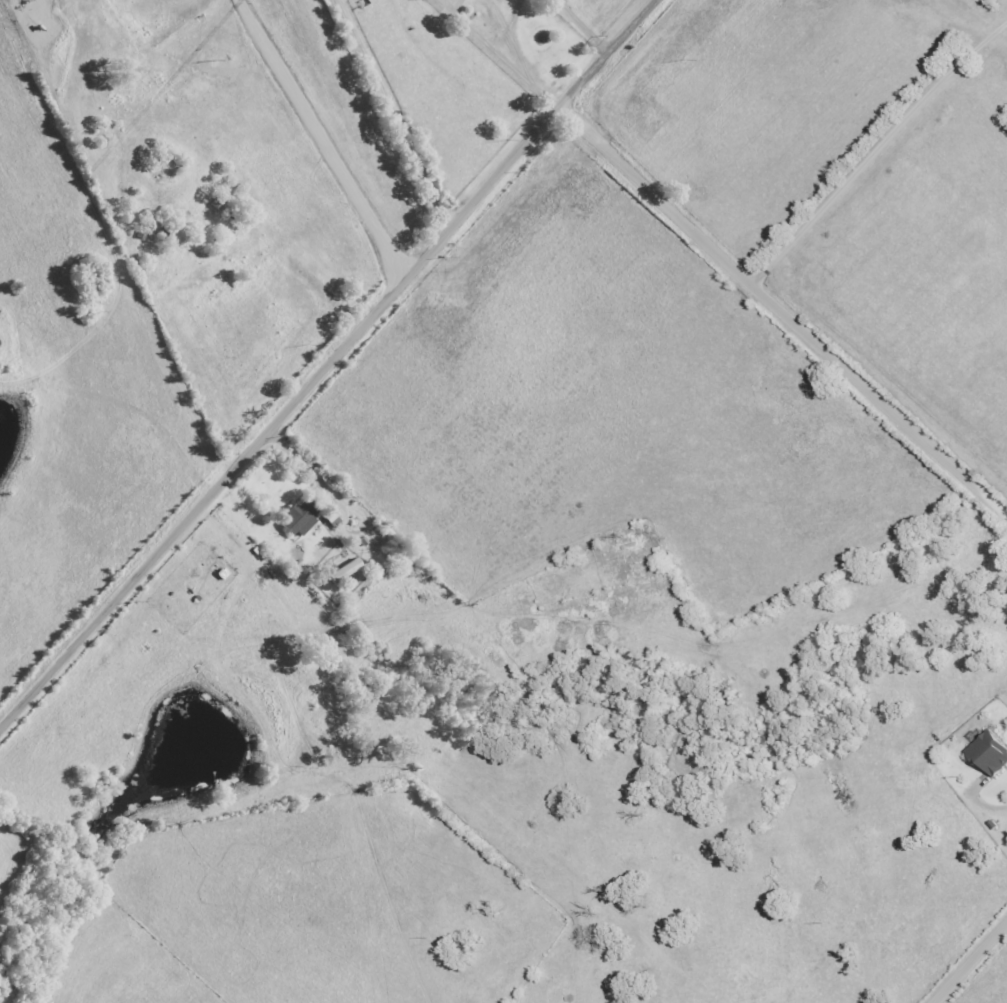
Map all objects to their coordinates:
road: (581, 27)
road: (514, 36)
road: (491, 39)
road: (545, 91)
road: (781, 313)
road: (330, 370)
building: (301, 518)
building: (334, 520)
building: (347, 570)
building: (992, 753)
road: (984, 808)
road: (971, 963)

